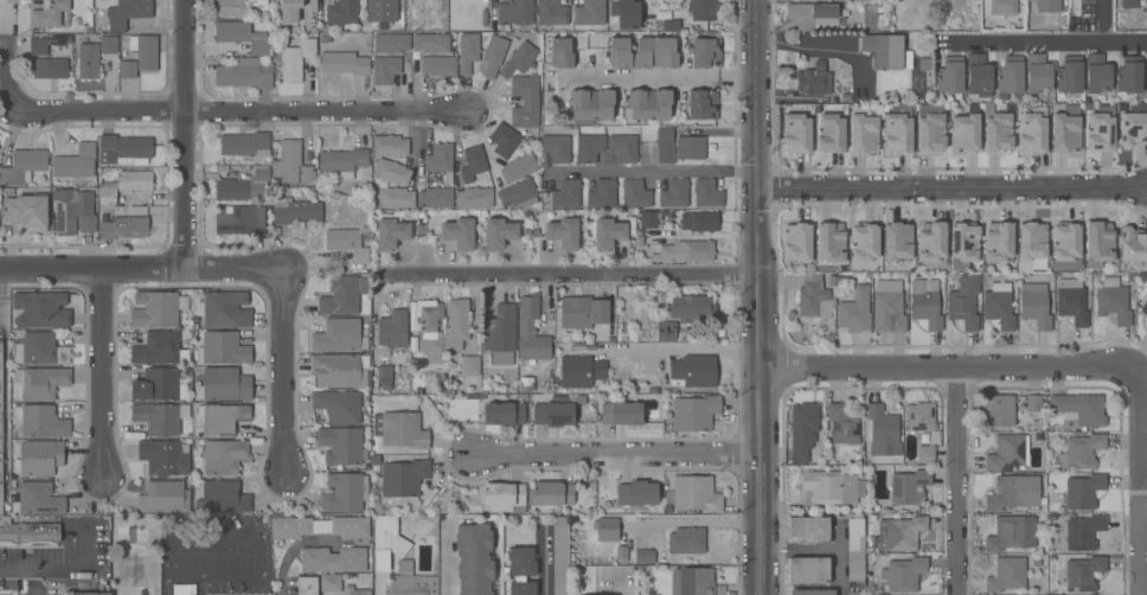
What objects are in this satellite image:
building: (807, 0)
building: (1129, 4)
building: (1047, 6)
building: (237, 7)
building: (1002, 7)
building: (289, 9)
building: (703, 9)
building: (382, 11)
building: (49, 13)
building: (127, 13)
building: (341, 13)
building: (551, 13)
building: (589, 13)
building: (513, 14)
building: (627, 14)
building: (809, 14)
road: (1103, 21)
building: (658, 24)
building: (242, 36)
building: (390, 43)
building: (431, 43)
road: (1045, 44)
building: (108, 45)
building: (38, 46)
road: (824, 47)
building: (145, 51)
building: (886, 51)
building: (467, 52)
building: (560, 52)
building: (705, 52)
building: (643, 53)
building: (493, 55)
building: (295, 59)
building: (519, 59)
building: (88, 60)
building: (344, 63)
building: (438, 65)
building: (50, 68)
building: (127, 69)
building: (385, 70)
building: (1097, 72)
building: (244, 73)
building: (978, 73)
building: (1037, 73)
building: (1146, 73)
road: (2, 75)
road: (652, 75)
building: (950, 75)
building: (1069, 75)
building: (1129, 75)
building: (1010, 76)
building: (814, 79)
building: (525, 102)
building: (649, 103)
building: (591, 104)
building: (703, 104)
road: (241, 113)
building: (1133, 124)
building: (930, 128)
building: (1032, 128)
building: (898, 129)
building: (998, 129)
building: (1065, 129)
building: (1101, 129)
building: (863, 130)
building: (966, 130)
building: (796, 133)
building: (831, 133)
road: (184, 134)
building: (504, 140)
building: (243, 143)
building: (665, 145)
building: (389, 146)
building: (556, 147)
building: (589, 147)
building: (690, 147)
building: (123, 148)
building: (623, 148)
building: (438, 158)
building: (342, 161)
building: (473, 162)
building: (76, 164)
building: (291, 165)
building: (23, 166)
building: (518, 168)
road: (652, 171)
building: (391, 172)
building: (134, 180)
building: (244, 186)
road: (950, 190)
building: (517, 192)
building: (107, 193)
building: (566, 193)
building: (635, 193)
building: (707, 193)
building: (602, 194)
building: (674, 194)
building: (473, 197)
building: (396, 198)
building: (435, 198)
building: (26, 211)
building: (72, 211)
building: (295, 211)
building: (647, 219)
building: (241, 220)
building: (699, 222)
building: (122, 225)
building: (563, 232)
building: (390, 233)
building: (459, 233)
building: (498, 233)
building: (607, 233)
building: (898, 241)
building: (1032, 241)
building: (797, 242)
building: (831, 242)
building: (865, 242)
building: (999, 242)
building: (1098, 243)
building: (347, 244)
building: (933, 244)
building: (963, 244)
building: (1133, 244)
building: (1066, 247)
building: (686, 251)
road: (129, 268)
road: (568, 275)
building: (342, 295)
road: (755, 297)
building: (813, 297)
building: (1113, 300)
building: (1072, 301)
building: (925, 302)
building: (965, 302)
building: (999, 306)
building: (1034, 306)
building: (889, 307)
building: (158, 308)
building: (222, 308)
building: (692, 308)
building: (1145, 308)
building: (41, 309)
building: (854, 311)
building: (582, 312)
building: (392, 328)
building: (1146, 330)
building: (531, 331)
building: (666, 331)
building: (441, 334)
building: (500, 334)
building: (339, 335)
road: (675, 346)
building: (159, 348)
building: (223, 348)
building: (39, 350)
road: (282, 365)
building: (470, 365)
building: (340, 370)
road: (101, 371)
building: (579, 371)
building: (694, 371)
road: (948, 371)
building: (384, 373)
building: (41, 382)
building: (526, 384)
building: (158, 385)
building: (223, 385)
building: (1033, 403)
building: (339, 405)
building: (1079, 408)
building: (1000, 410)
building: (556, 411)
building: (694, 412)
building: (504, 414)
building: (621, 414)
building: (222, 417)
building: (158, 418)
building: (43, 422)
building: (842, 426)
building: (922, 428)
building: (399, 429)
building: (802, 430)
building: (883, 431)
building: (0, 437)
building: (340, 444)
road: (1141, 444)
building: (1008, 452)
building: (1081, 452)
building: (224, 456)
building: (38, 458)
building: (164, 458)
road: (616, 458)
building: (404, 478)
road: (957, 482)
building: (908, 484)
building: (831, 486)
building: (344, 492)
building: (1017, 492)
building: (1083, 492)
building: (551, 493)
building: (636, 493)
building: (696, 494)
building: (502, 495)
building: (162, 498)
building: (223, 498)
building: (38, 499)
road: (1143, 508)
road: (686, 524)
building: (318, 526)
building: (605, 529)
building: (808, 530)
building: (1083, 532)
building: (28, 533)
building: (899, 533)
building: (1012, 533)
building: (389, 536)
road: (261, 537)
building: (686, 540)
building: (856, 550)
road: (1140, 551)
building: (621, 554)
road: (443, 556)
building: (643, 557)
building: (559, 558)
building: (333, 559)
building: (474, 559)
building: (521, 562)
road: (542, 563)
road: (63, 570)
building: (808, 570)
road: (281, 571)
building: (902, 574)
building: (1083, 574)
building: (1006, 575)
building: (410, 581)
road: (624, 581)
road: (32, 582)
building: (329, 582)
building: (692, 582)
building: (306, 586)
road: (167, 587)
building: (521, 588)
building: (105, 589)
building: (182, 589)
building: (355, 590)
building: (812, 593)
building: (856, 594)

